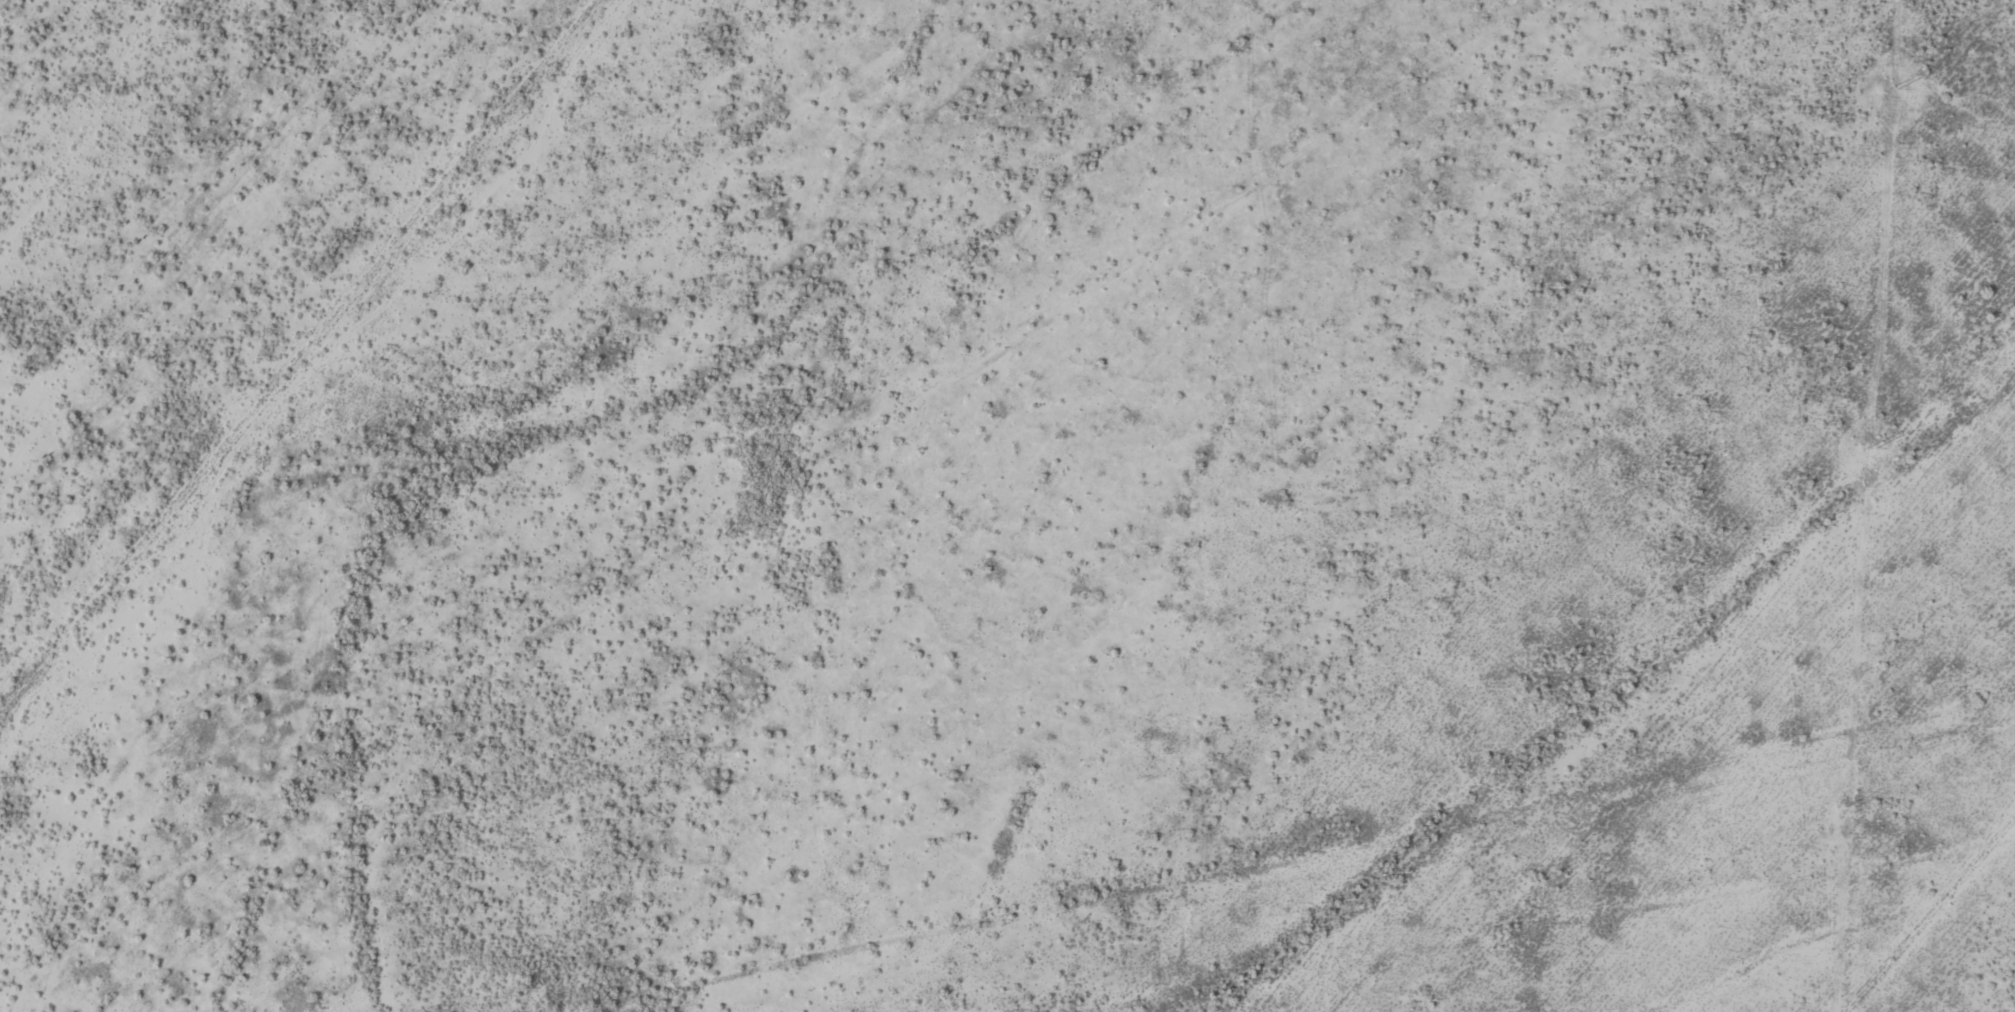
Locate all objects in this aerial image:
power tower: (1892, 90)
power tower: (1870, 449)
power tower: (1849, 808)

